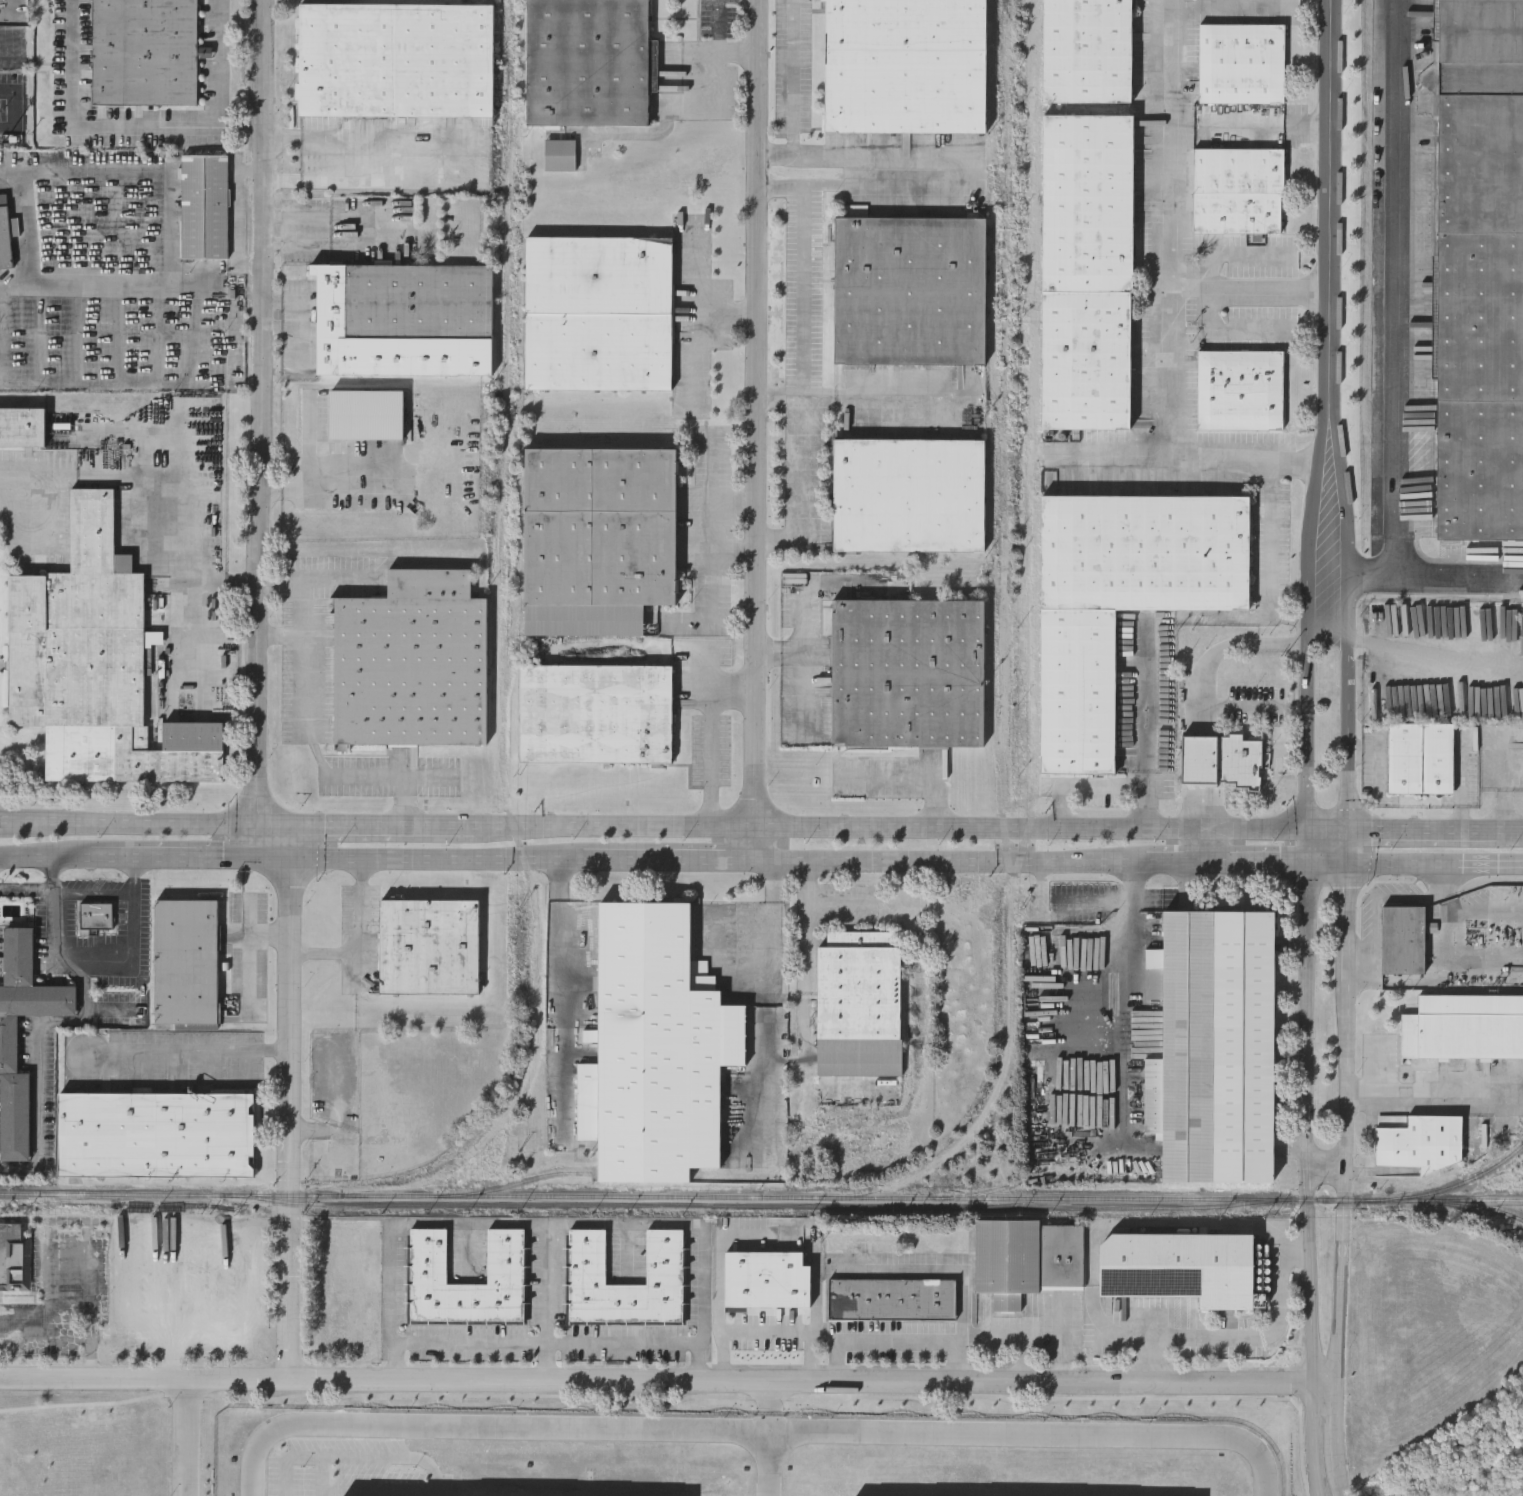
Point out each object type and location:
road: (721, 27)
building: (1086, 50)
building: (143, 51)
road: (718, 55)
building: (394, 58)
building: (588, 61)
road: (218, 62)
building: (1241, 62)
building: (902, 65)
road: (792, 90)
road: (8, 108)
road: (104, 122)
road: (1170, 144)
building: (560, 153)
road: (353, 165)
road: (153, 173)
road: (307, 179)
road: (889, 188)
building: (1236, 189)
building: (203, 205)
road: (26, 218)
road: (366, 228)
road: (1331, 232)
building: (4, 235)
road: (1232, 254)
building: (1085, 270)
building: (1479, 270)
road: (704, 276)
road: (110, 286)
building: (907, 287)
road: (1397, 288)
building: (597, 311)
building: (402, 317)
road: (703, 328)
road: (1228, 330)
road: (230, 332)
road: (155, 334)
road: (78, 335)
road: (117, 335)
road: (197, 335)
road: (804, 363)
road: (1172, 369)
building: (1239, 388)
road: (784, 399)
road: (888, 400)
building: (366, 414)
building: (22, 426)
road: (765, 429)
road: (312, 464)
road: (716, 469)
road: (352, 475)
road: (164, 483)
building: (907, 494)
road: (1316, 520)
road: (715, 526)
building: (596, 537)
road: (1268, 556)
road: (1417, 577)
road: (715, 581)
road: (262, 587)
building: (1120, 599)
road: (193, 623)
building: (1521, 634)
road: (283, 636)
road: (803, 640)
road: (1224, 648)
road: (1434, 652)
building: (410, 660)
building: (93, 663)
building: (906, 671)
building: (1224, 689)
water tower: (1239, 690)
road: (803, 698)
road: (1309, 699)
road: (1147, 705)
building: (594, 712)
road: (308, 724)
road: (717, 736)
building: (1420, 757)
building: (1207, 762)
road: (1377, 765)
road: (912, 775)
road: (1461, 779)
road: (1087, 787)
road: (1147, 796)
road: (3, 820)
road: (135, 821)
road: (369, 823)
road: (891, 823)
road: (1329, 823)
road: (1422, 824)
road: (1509, 826)
road: (1203, 840)
road: (1309, 842)
road: (672, 858)
road: (427, 860)
road: (1176, 860)
road: (184, 861)
road: (955, 861)
road: (1256, 861)
road: (46, 863)
road: (1415, 864)
road: (27, 889)
road: (93, 893)
road: (1378, 900)
road: (1476, 911)
building: (96, 915)
road: (1347, 921)
road: (256, 933)
road: (714, 936)
building: (1403, 940)
road: (362, 945)
building: (428, 945)
road: (134, 952)
road: (1111, 959)
building: (186, 960)
road: (1436, 977)
road: (808, 992)
road: (562, 995)
road: (761, 1005)
building: (858, 1009)
road: (58, 1021)
building: (1464, 1027)
building: (9, 1043)
building: (657, 1045)
building: (1212, 1046)
road: (186, 1051)
road: (1431, 1095)
road: (1306, 1124)
building: (154, 1134)
building: (1418, 1142)
road: (1325, 1164)
railway: (1039, 1178)
railway: (521, 1180)
railway: (1458, 1185)
railway: (179, 1194)
railway: (940, 1197)
railway: (756, 1204)
railway: (1483, 1208)
road: (548, 1225)
building: (355, 1255)
building: (504, 1255)
building: (587, 1255)
building: (14, 1256)
building: (1026, 1258)
building: (1178, 1267)
building: (188, 1279)
building: (765, 1279)
building: (891, 1298)
road: (547, 1302)
road: (768, 1330)
road: (469, 1331)
road: (623, 1332)
road: (1022, 1336)
road: (895, 1339)
road: (1062, 1339)
road: (1245, 1339)
road: (656, 1381)
road: (1336, 1382)
road: (1324, 1385)
road: (754, 1426)
road: (1336, 1430)
road: (184, 1436)
road: (326, 1437)
road: (772, 1439)
road: (1312, 1441)
building: (167, 1458)
building: (1163, 1466)
road: (1339, 1485)

